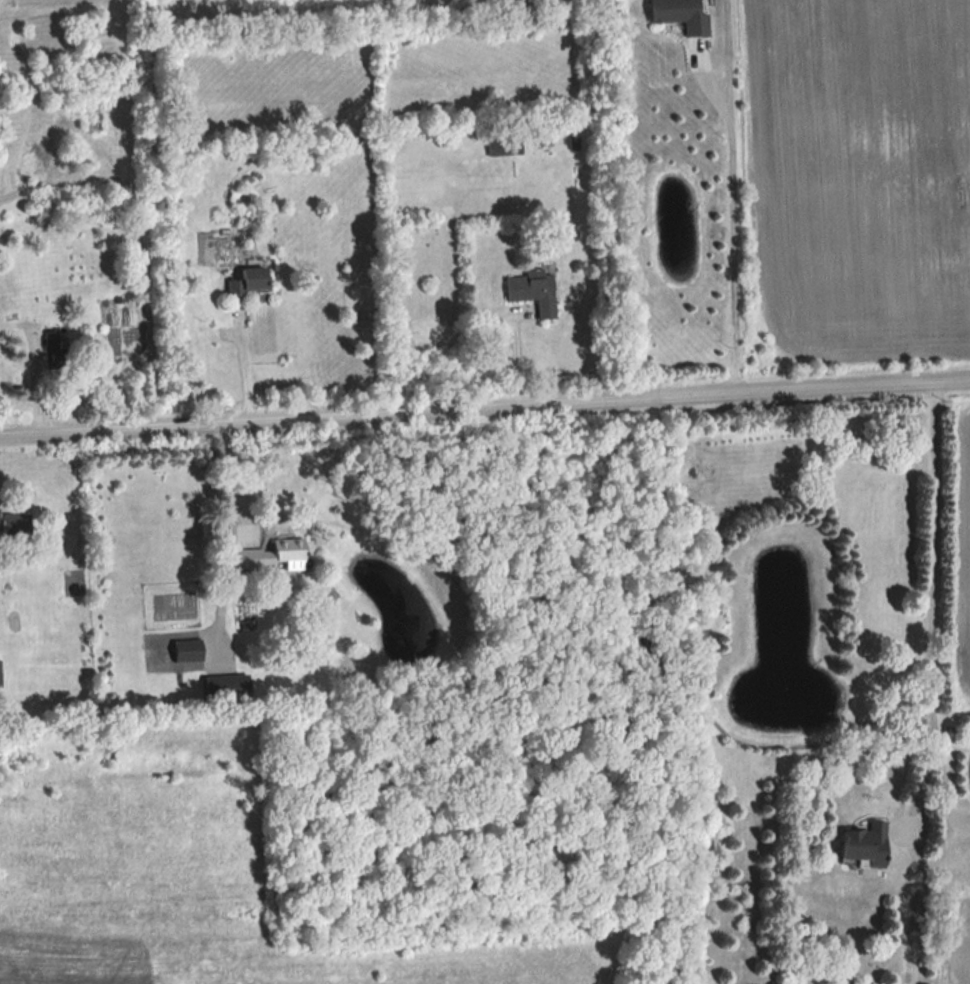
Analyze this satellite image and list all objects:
building: (676, 15)
crop: (857, 175)
road: (735, 220)
building: (251, 281)
building: (531, 294)
road: (484, 404)
road: (231, 479)
crop: (959, 532)
building: (265, 554)
building: (186, 651)
building: (0, 674)
road: (926, 678)
road: (935, 769)
building: (860, 845)
crop: (957, 936)

